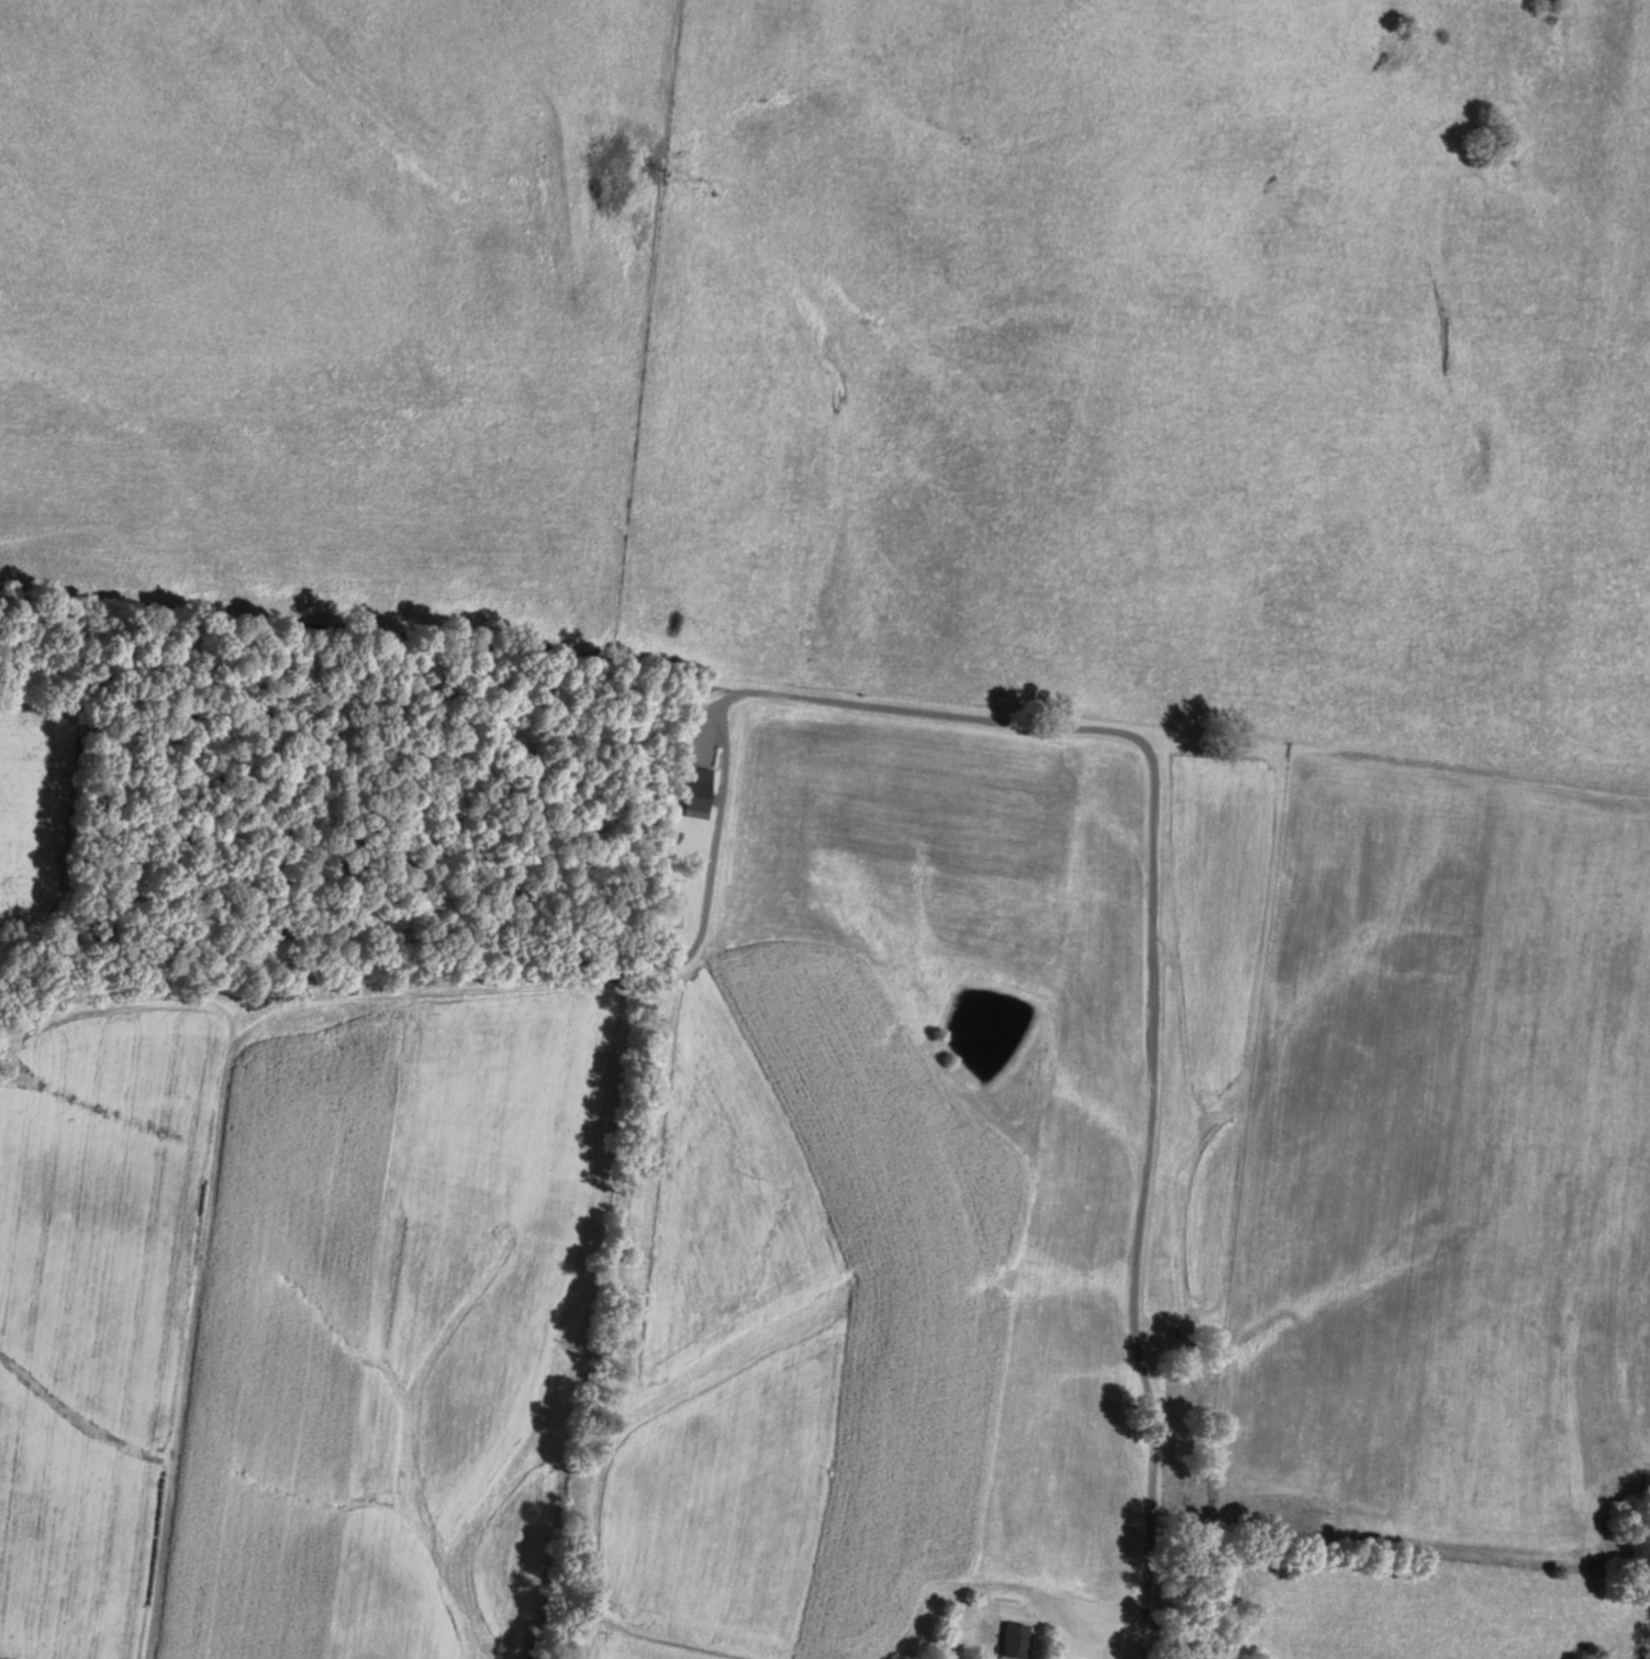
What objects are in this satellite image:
building: (699, 790)
building: (1018, 1639)

